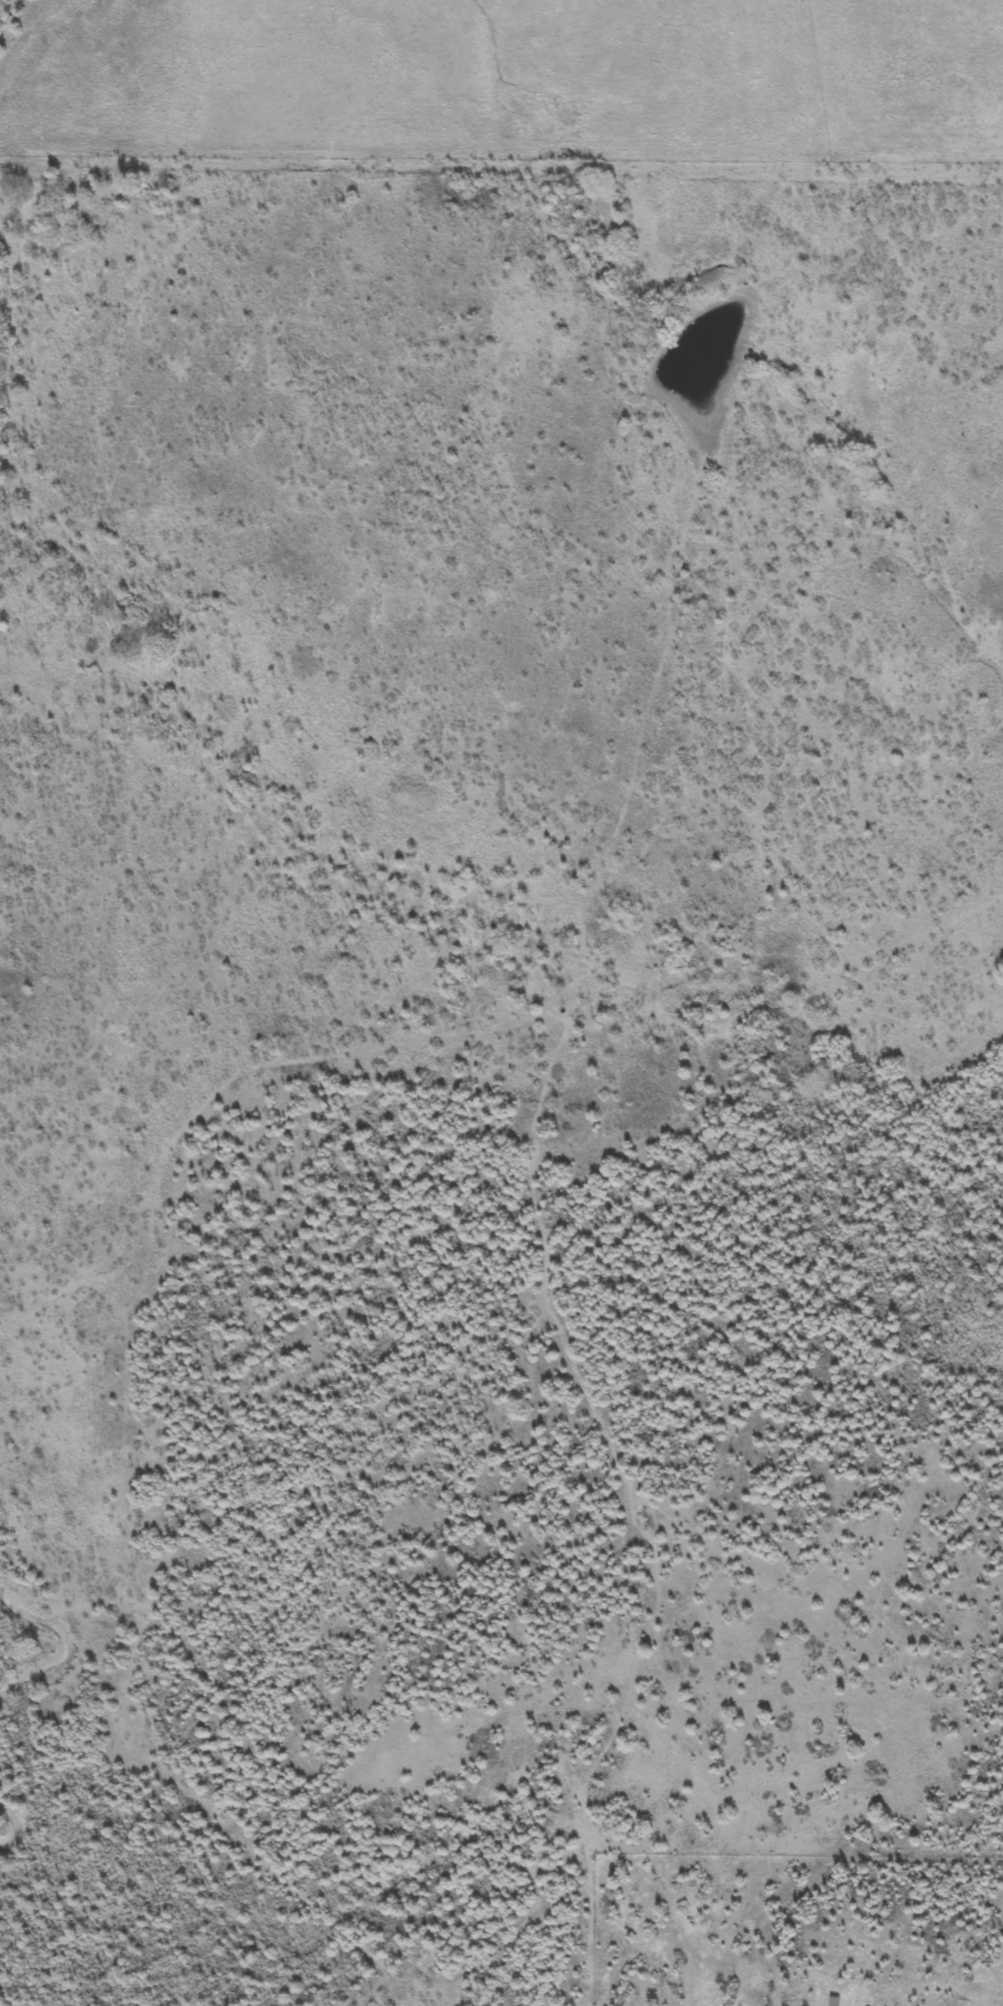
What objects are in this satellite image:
building: (834, 2001)

